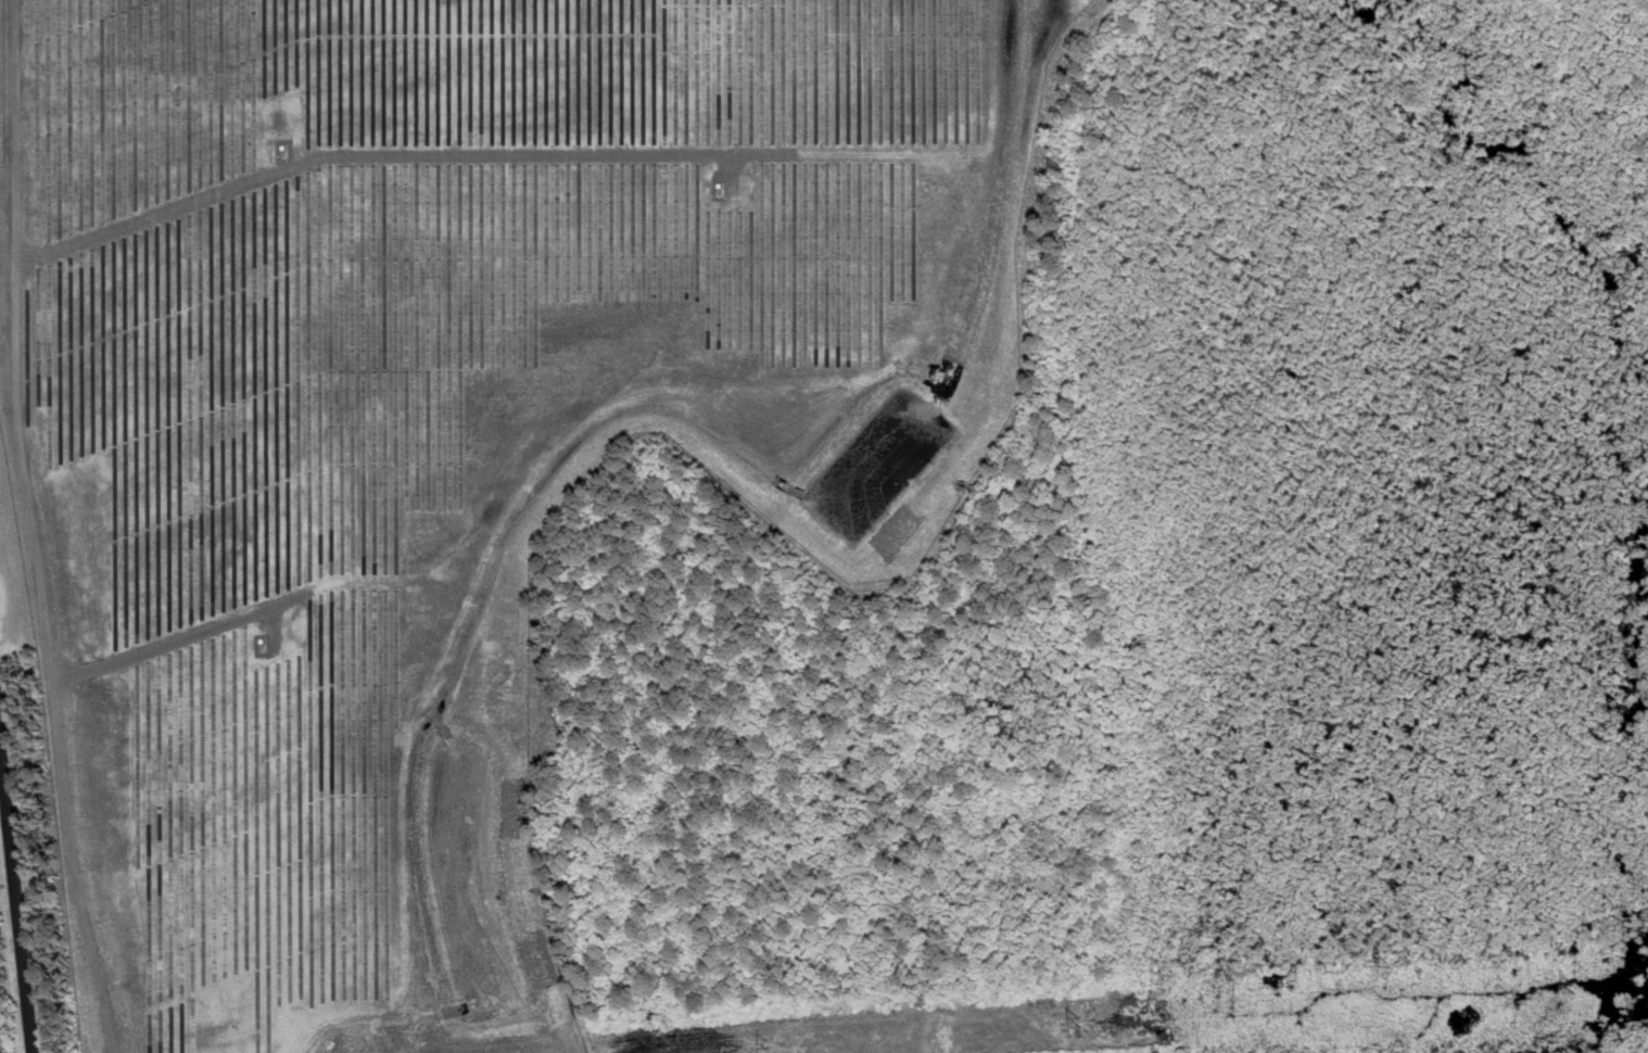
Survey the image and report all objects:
road: (15, 899)
power tower: (1574, 990)
power tower: (1077, 1025)
power tower: (765, 1044)

